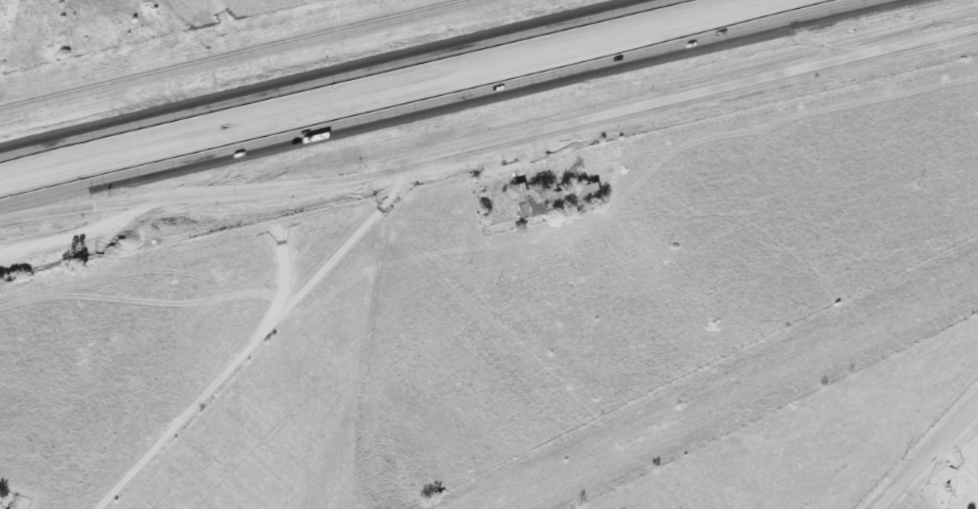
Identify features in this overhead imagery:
road: (232, 54)
road: (335, 78)
road: (434, 99)
road: (691, 100)
building: (571, 198)
road: (202, 213)
road: (254, 342)
airport: (728, 389)
airport runway: (733, 389)
road: (927, 456)
road: (958, 465)

